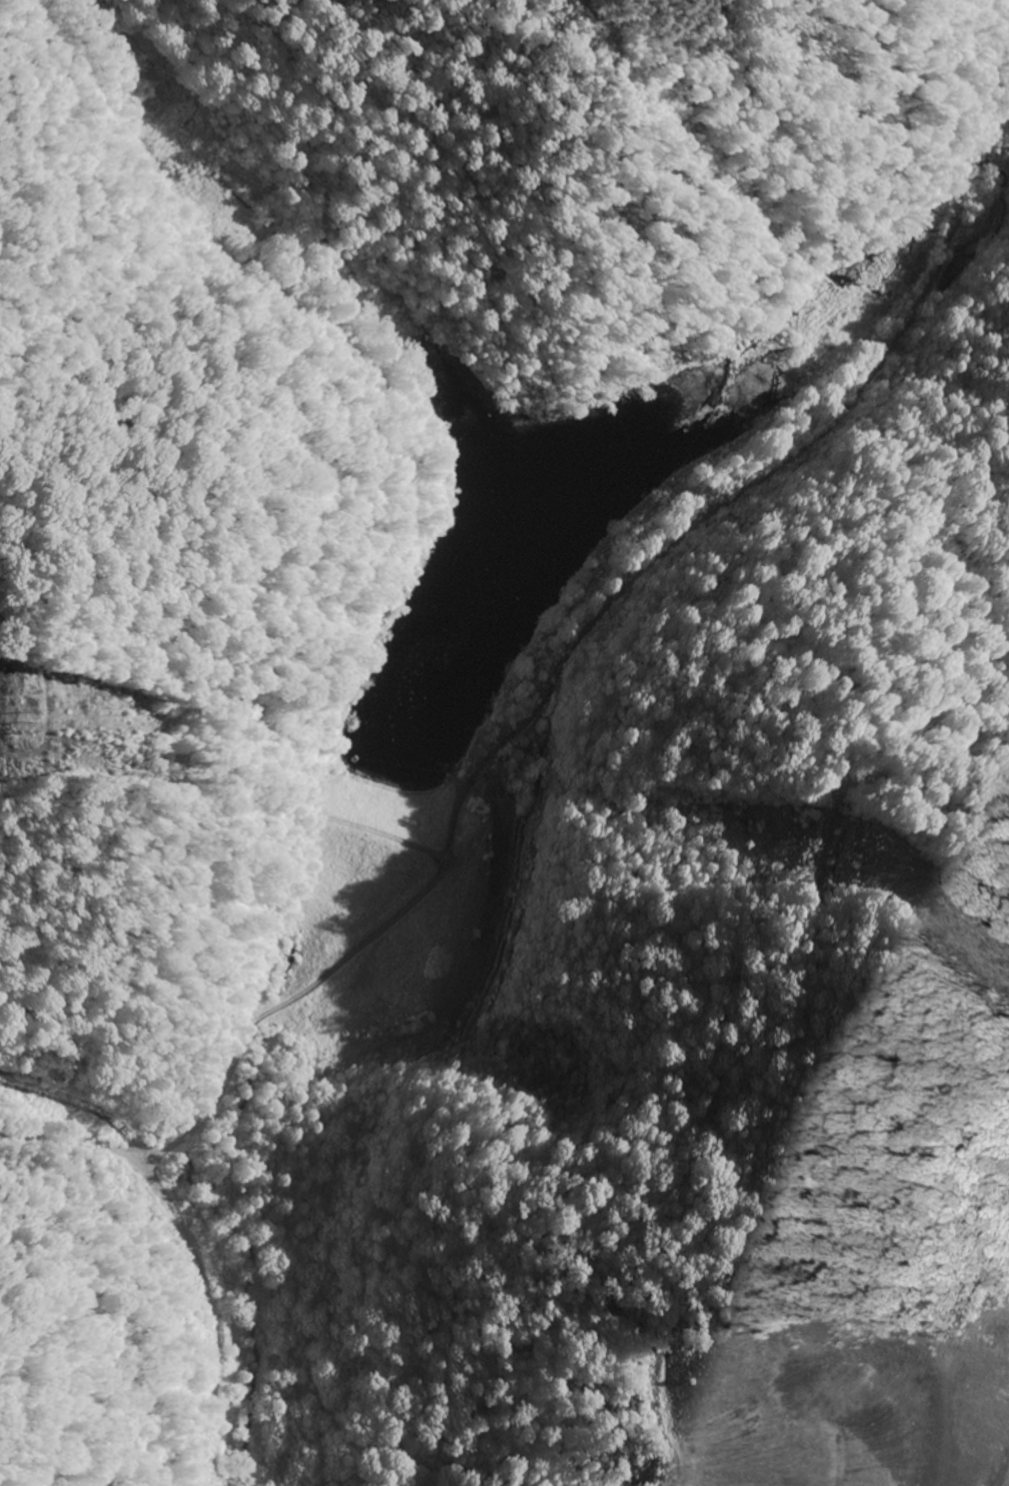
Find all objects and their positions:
road: (88, 1141)
road: (215, 1333)

